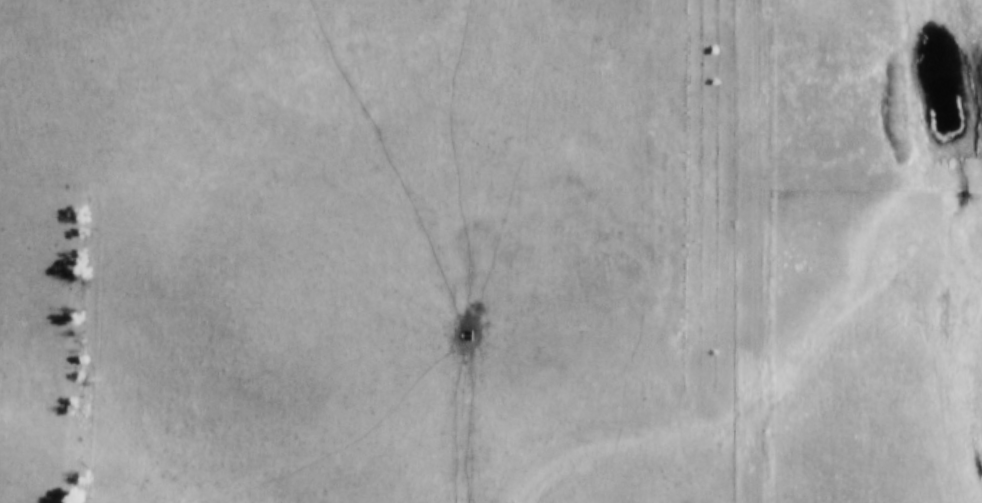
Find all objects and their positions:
road: (764, 253)

